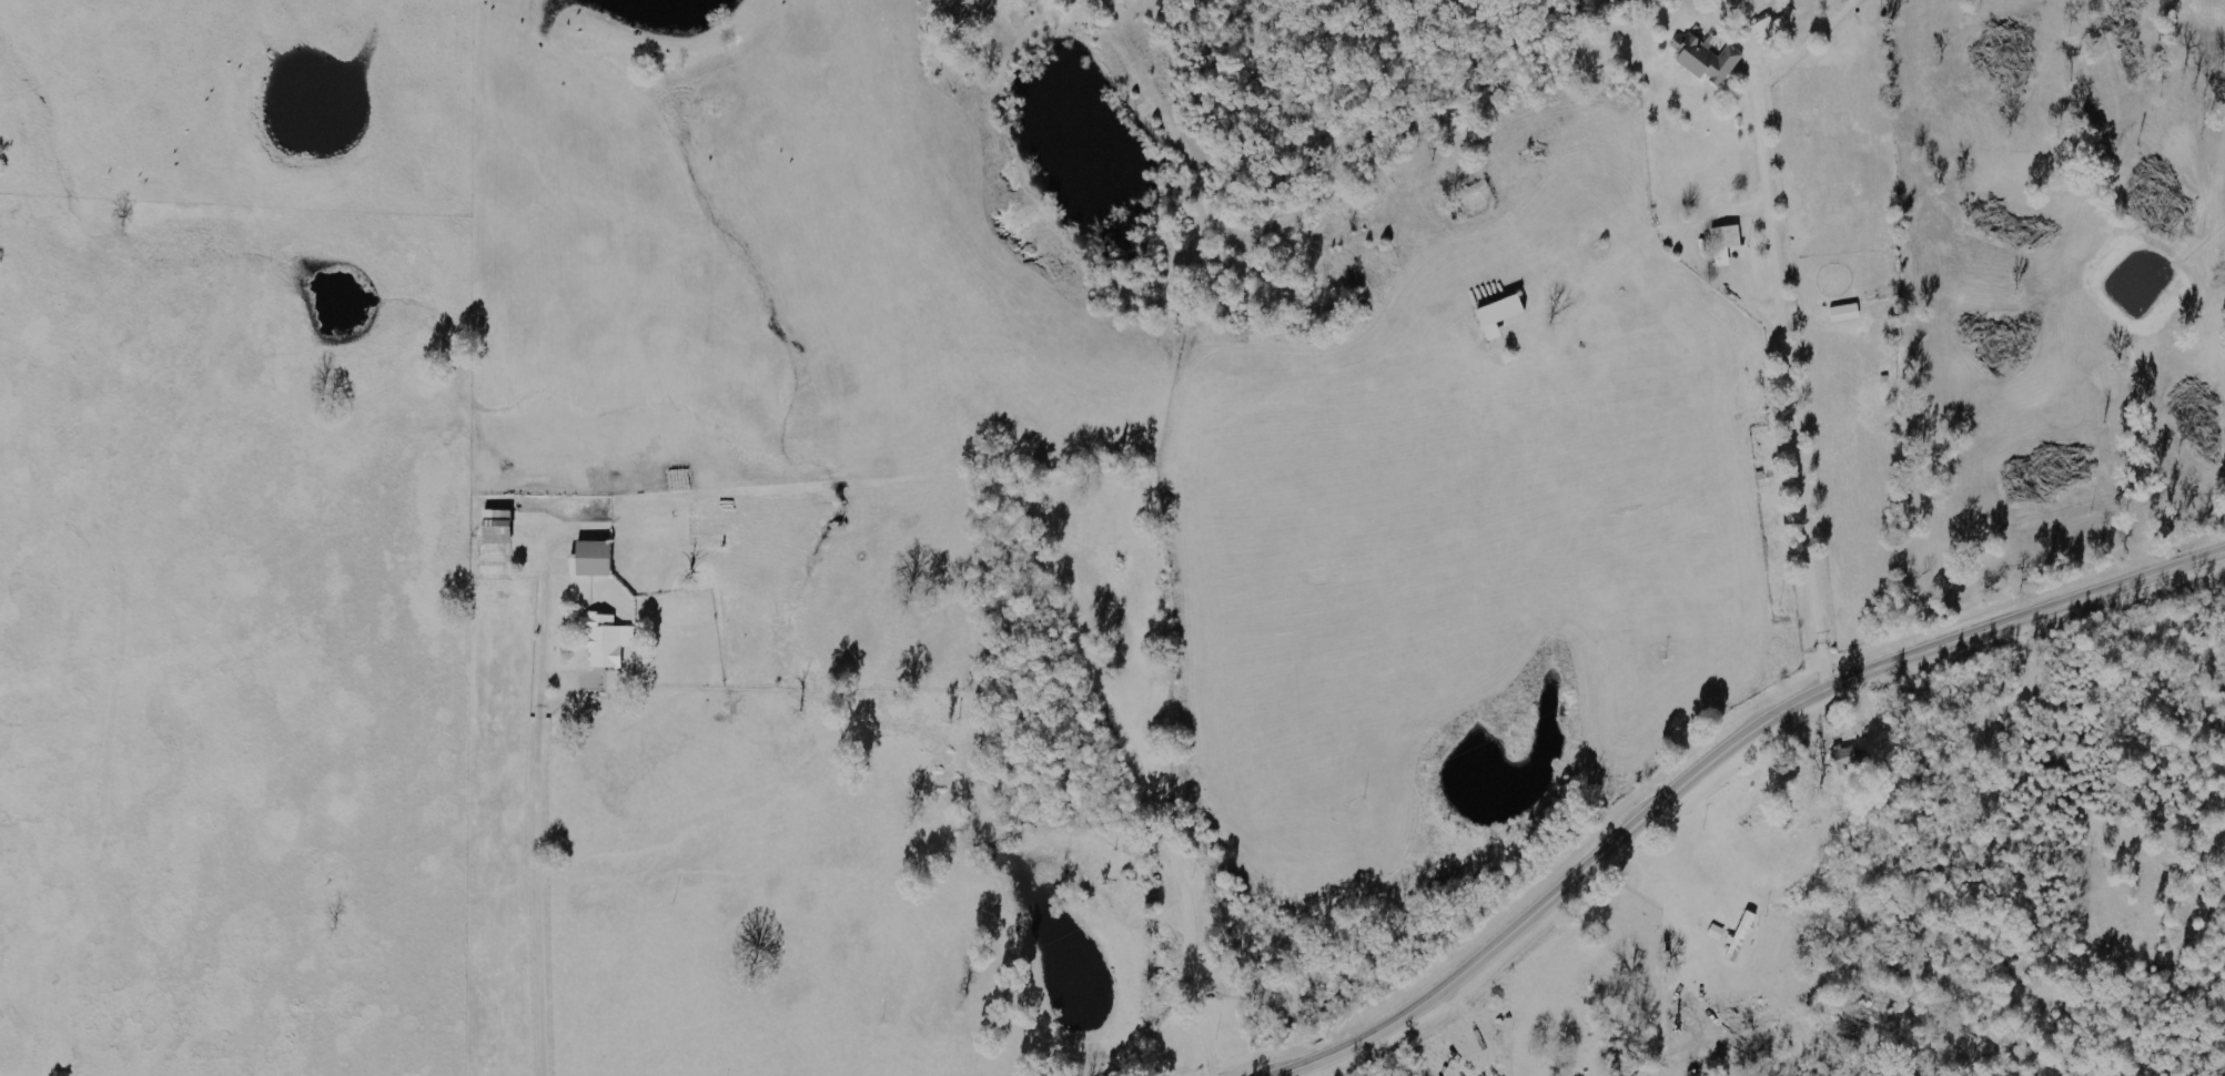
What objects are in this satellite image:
building: (1708, 59)
building: (1730, 243)
building: (1507, 314)
building: (504, 526)
building: (597, 558)
building: (610, 639)
park: (1076, 642)
road: (539, 649)
road: (1720, 757)
road: (534, 894)
building: (1746, 935)

